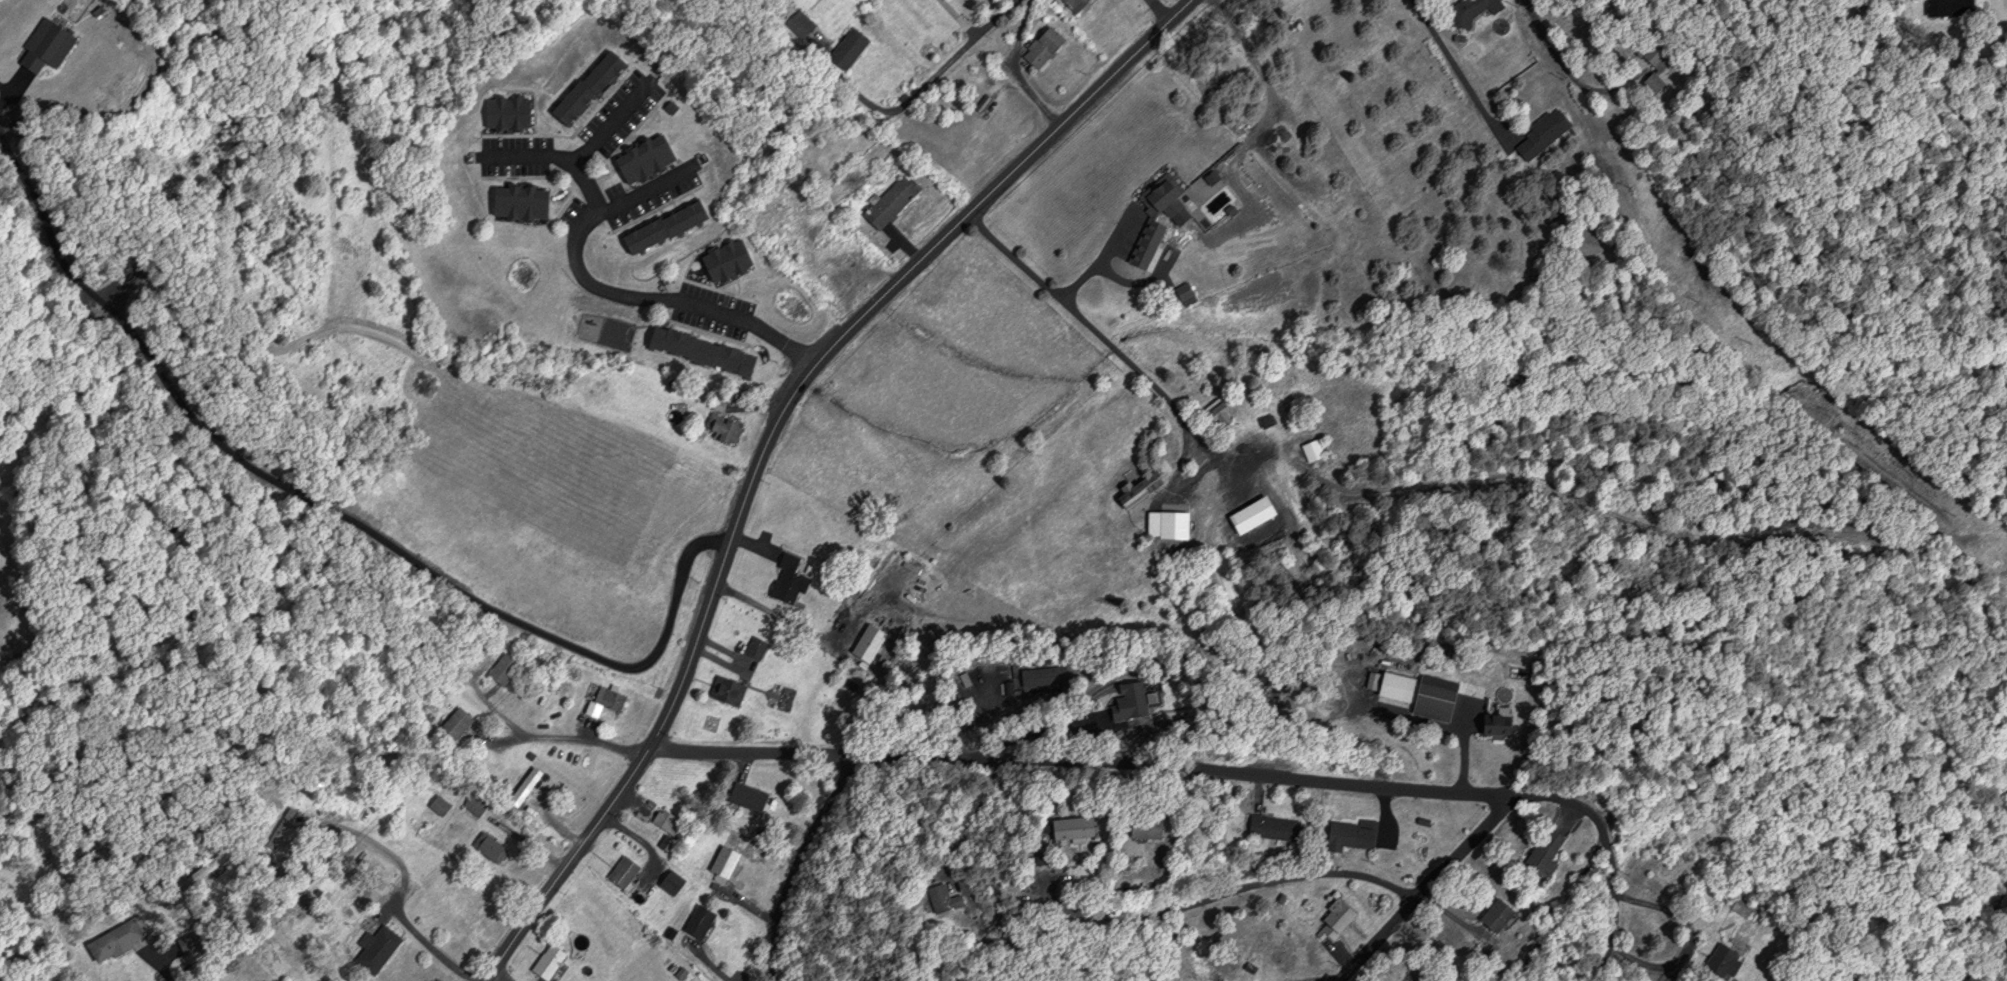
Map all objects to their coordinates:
building: (1067, 4)
building: (1947, 8)
building: (1469, 10)
road: (1158, 11)
road: (956, 18)
building: (797, 23)
building: (845, 47)
building: (39, 48)
building: (1039, 48)
road: (1564, 64)
building: (1654, 64)
road: (1017, 68)
road: (1456, 73)
building: (583, 87)
road: (915, 92)
building: (503, 113)
road: (608, 120)
building: (1539, 135)
road: (558, 155)
building: (640, 159)
building: (1158, 199)
building: (886, 202)
building: (515, 203)
building: (658, 228)
building: (1150, 235)
building: (722, 260)
building: (845, 265)
road: (608, 293)
building: (1181, 294)
road: (1086, 323)
building: (697, 352)
building: (1215, 413)
building: (721, 431)
road: (766, 438)
building: (1311, 450)
building: (1165, 524)
building: (785, 580)
building: (865, 642)
building: (753, 647)
building: (498, 669)
building: (724, 691)
building: (1414, 693)
building: (602, 699)
building: (452, 723)
building: (1494, 725)
road: (1140, 762)
building: (520, 786)
building: (744, 797)
building: (472, 804)
building: (437, 805)
building: (664, 822)
building: (1064, 827)
building: (1140, 827)
building: (1269, 827)
building: (279, 832)
building: (1346, 836)
building: (487, 848)
building: (1542, 851)
building: (720, 862)
building: (620, 872)
building: (668, 882)
building: (370, 889)
road: (1427, 890)
road: (1223, 892)
building: (941, 898)
road: (1557, 912)
road: (1611, 914)
building: (1492, 915)
building: (1332, 918)
building: (695, 922)
building: (107, 943)
building: (373, 948)
building: (1719, 959)
building: (544, 961)
road: (494, 978)

